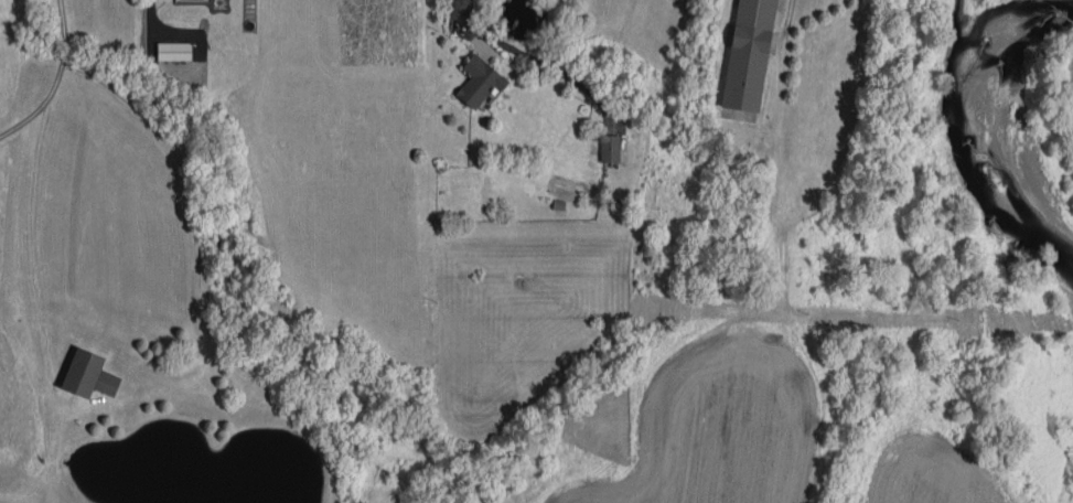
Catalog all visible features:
road: (149, 12)
road: (461, 12)
building: (748, 54)
road: (55, 79)
building: (479, 81)
river: (973, 89)
building: (609, 148)
building: (88, 374)

